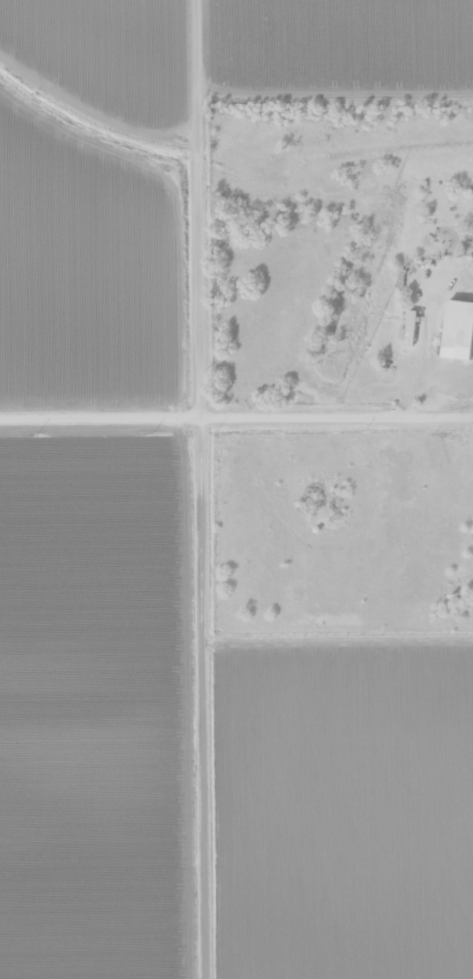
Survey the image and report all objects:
building: (468, 243)
building: (410, 329)
building: (458, 331)
road: (236, 416)
road: (206, 489)

